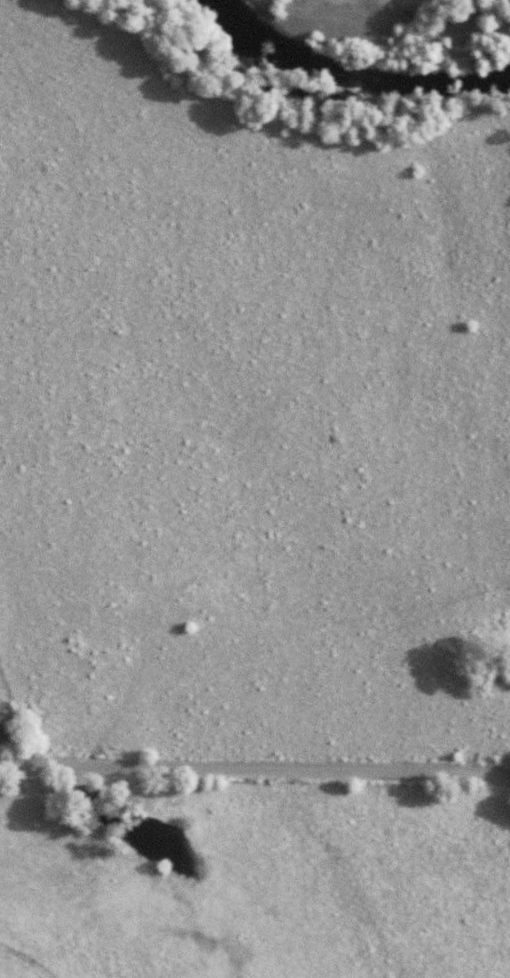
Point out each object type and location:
road: (255, 768)

